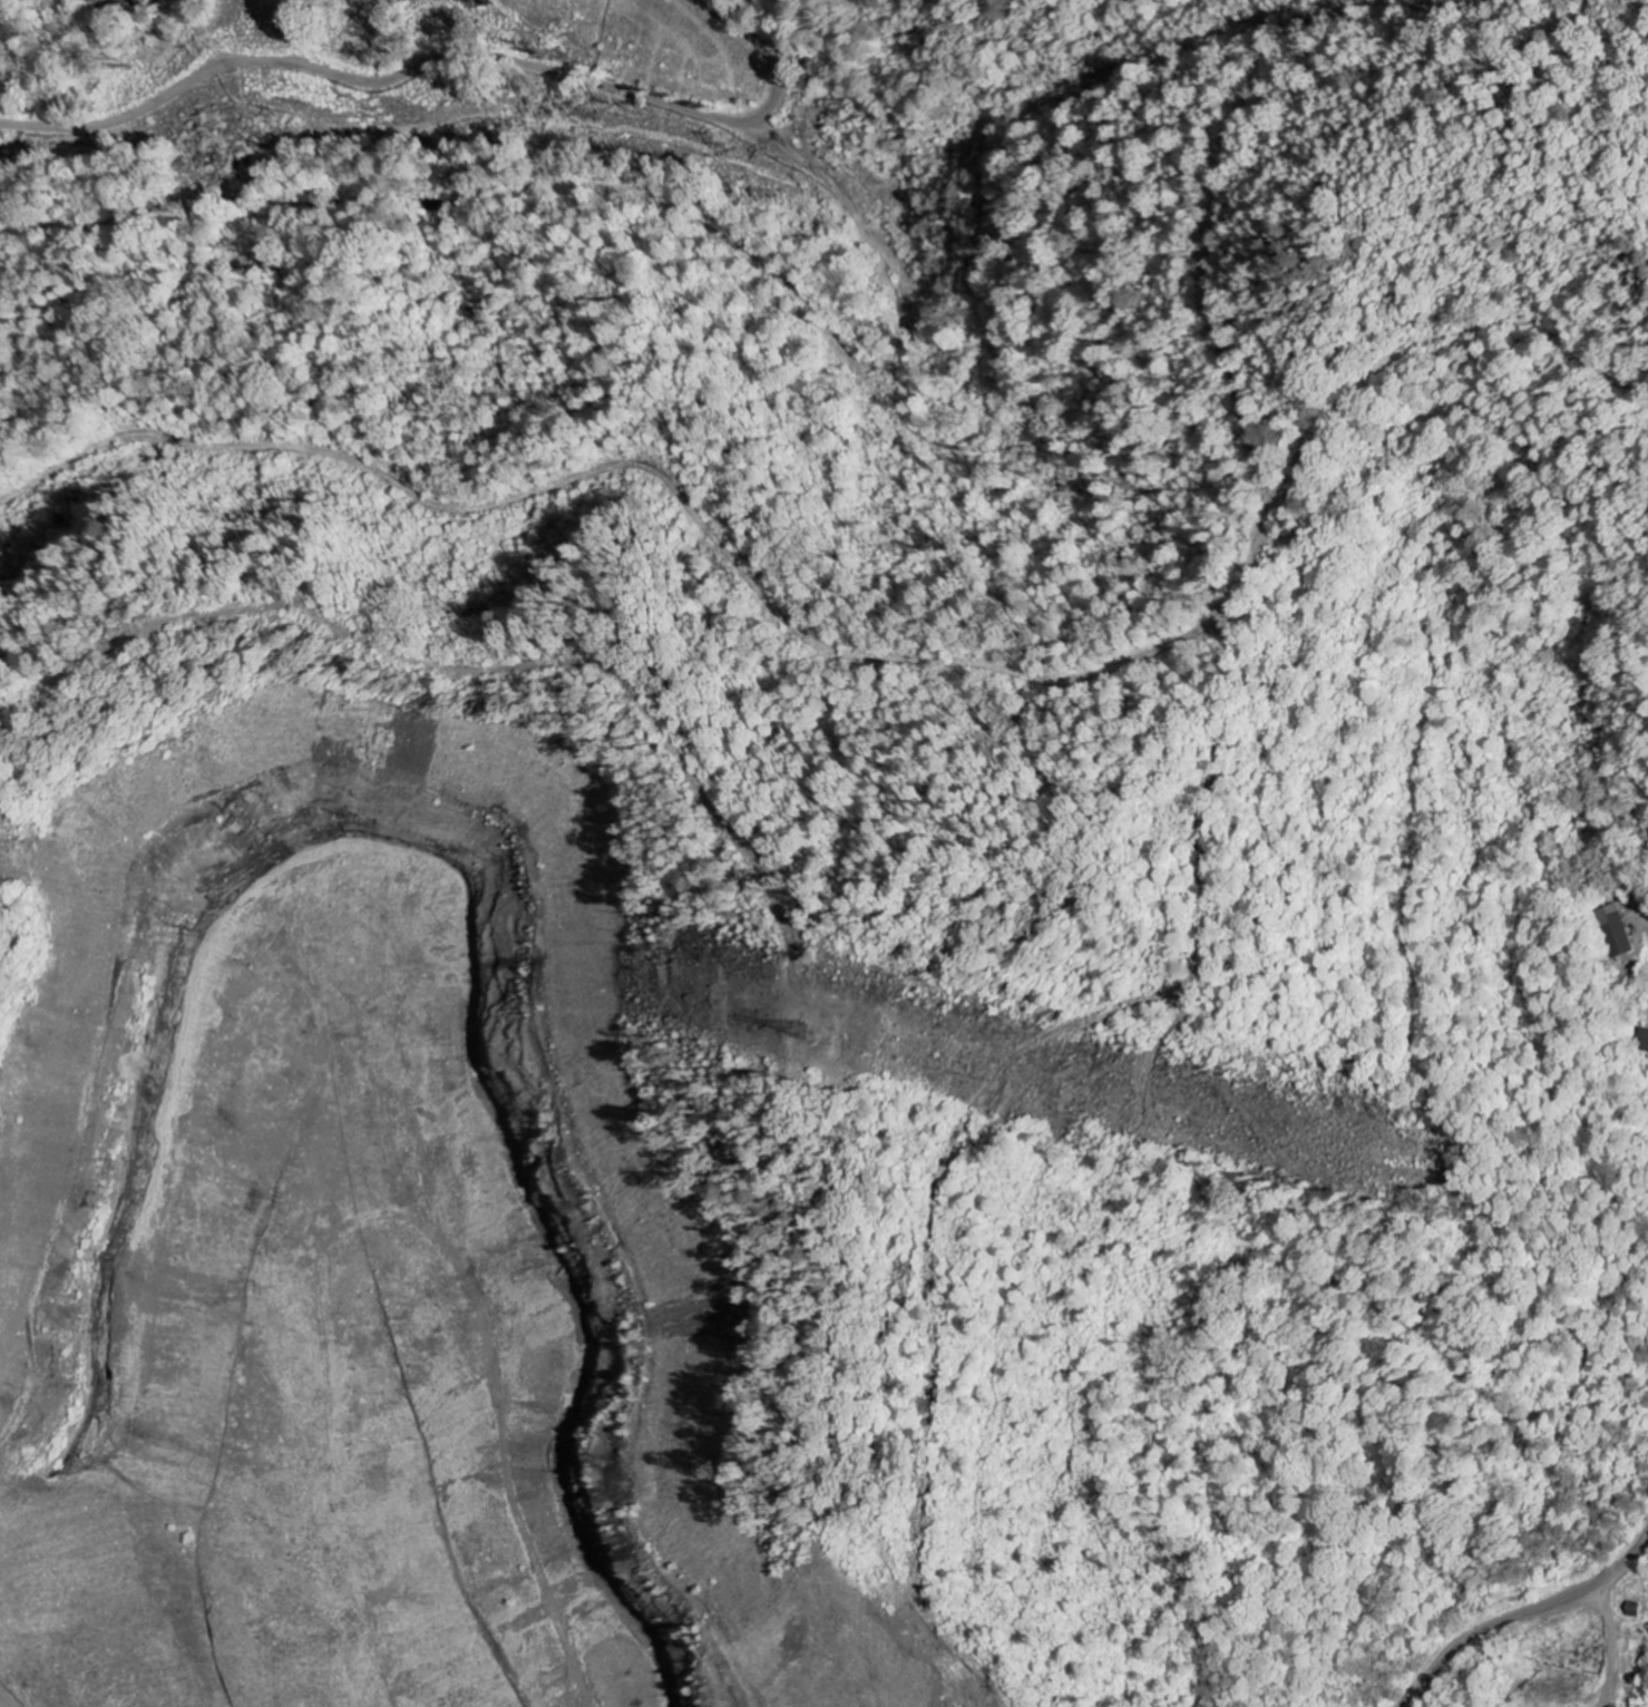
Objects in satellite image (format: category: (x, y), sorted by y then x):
road: (450, 57)
building: (1616, 930)
power tower: (757, 1031)
building: (1644, 1041)
road: (1523, 1613)

